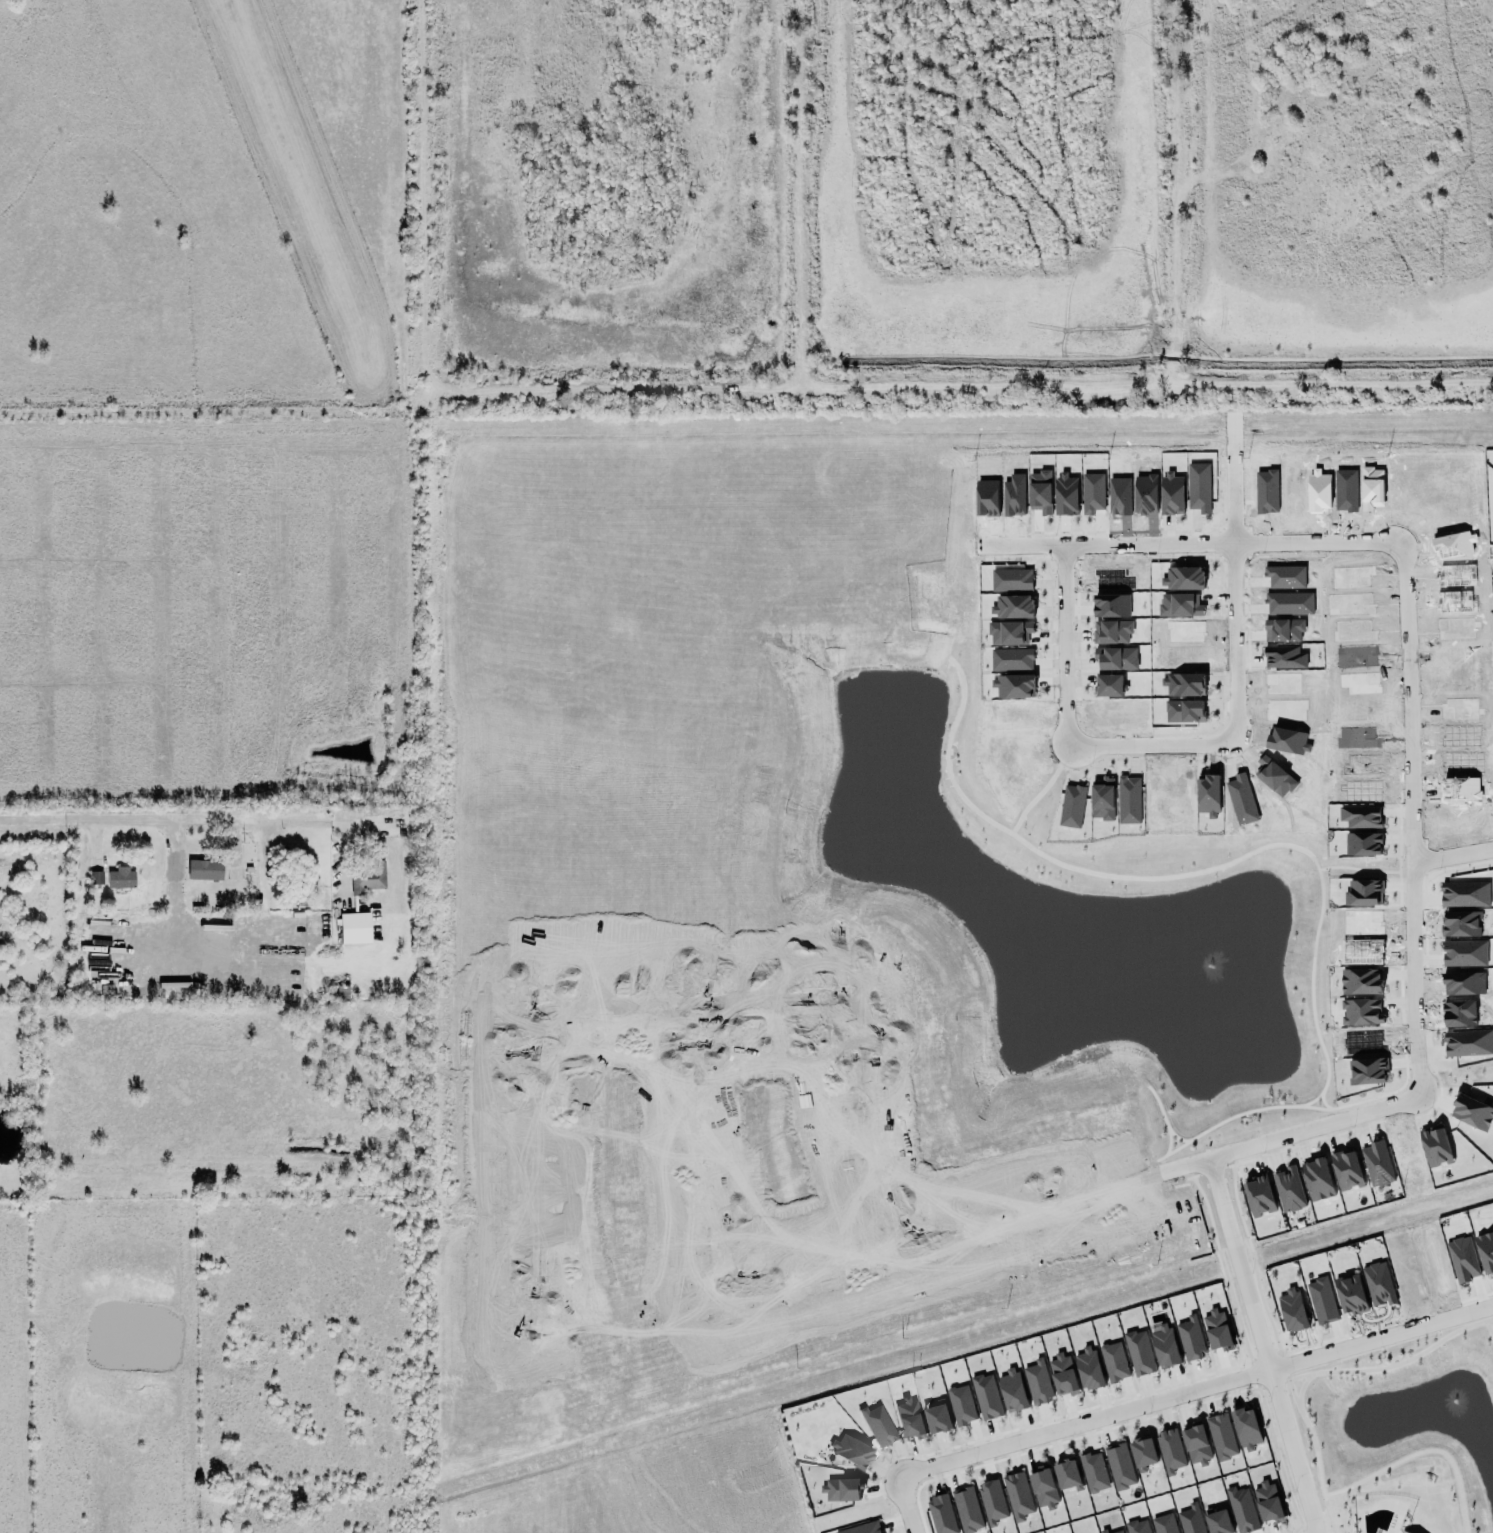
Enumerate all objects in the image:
road: (1119, 547)
road: (1029, 548)
road: (168, 822)
building: (205, 870)
building: (96, 877)
building: (121, 878)
road: (261, 878)
building: (369, 878)
building: (305, 882)
building: (355, 928)
building: (1361, 981)
building: (1361, 1012)
road: (562, 1023)
road: (1377, 1097)
road: (1324, 1106)
building: (1472, 1112)
road: (1238, 1114)
road: (1358, 1116)
road: (1180, 1140)
building: (1435, 1146)
building: (1377, 1164)
building: (1347, 1170)
building: (1318, 1179)
road: (515, 1186)
building: (1289, 1190)
building: (1259, 1196)
road: (705, 1202)
building: (1486, 1251)
building: (1461, 1258)
building: (1378, 1284)
building: (1350, 1294)
building: (1320, 1299)
building: (1292, 1310)
building: (1217, 1330)
building: (1190, 1338)
road: (1377, 1339)
building: (1165, 1345)
building: (1138, 1353)
building: (1113, 1361)
building: (1088, 1369)
building: (1062, 1374)
building: (1037, 1381)
building: (1012, 1391)
building: (986, 1397)
building: (961, 1405)
road: (1134, 1409)
building: (937, 1415)
building: (910, 1418)
building: (879, 1426)
building: (1246, 1429)
building: (1221, 1437)
building: (1196, 1445)
building: (851, 1448)
building: (1170, 1451)
building: (1143, 1454)
building: (1119, 1466)
building: (1093, 1472)
building: (1067, 1475)
building: (1043, 1489)
building: (842, 1490)
building: (1017, 1496)
building: (992, 1501)
building: (1268, 1502)
building: (967, 1510)
building: (1242, 1510)
building: (940, 1513)
building: (1190, 1519)
building: (1218, 1521)
building: (1164, 1524)
building: (1137, 1526)
building: (863, 1528)
building: (1103, 1531)
building: (1118, 1532)
building: (1404, 1532)

